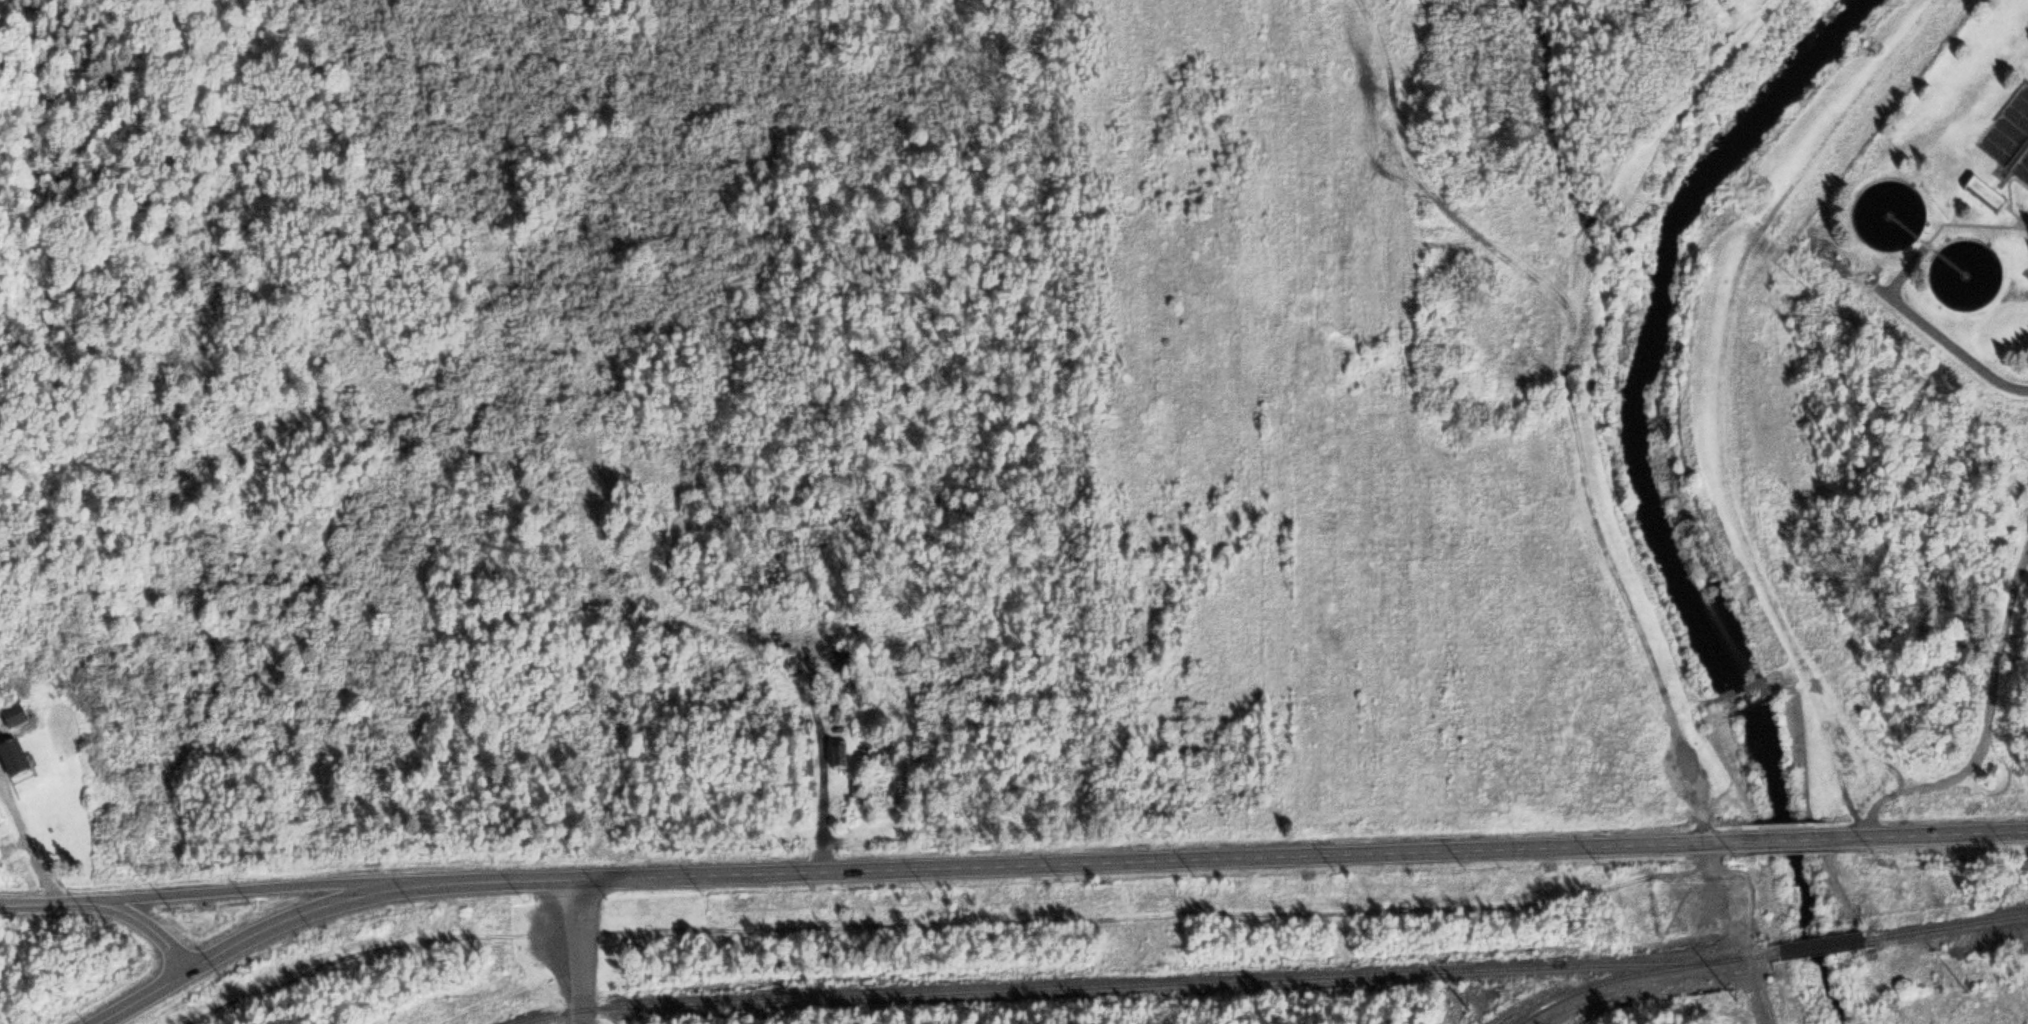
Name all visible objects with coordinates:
wastewater plant: (1945, 202)

